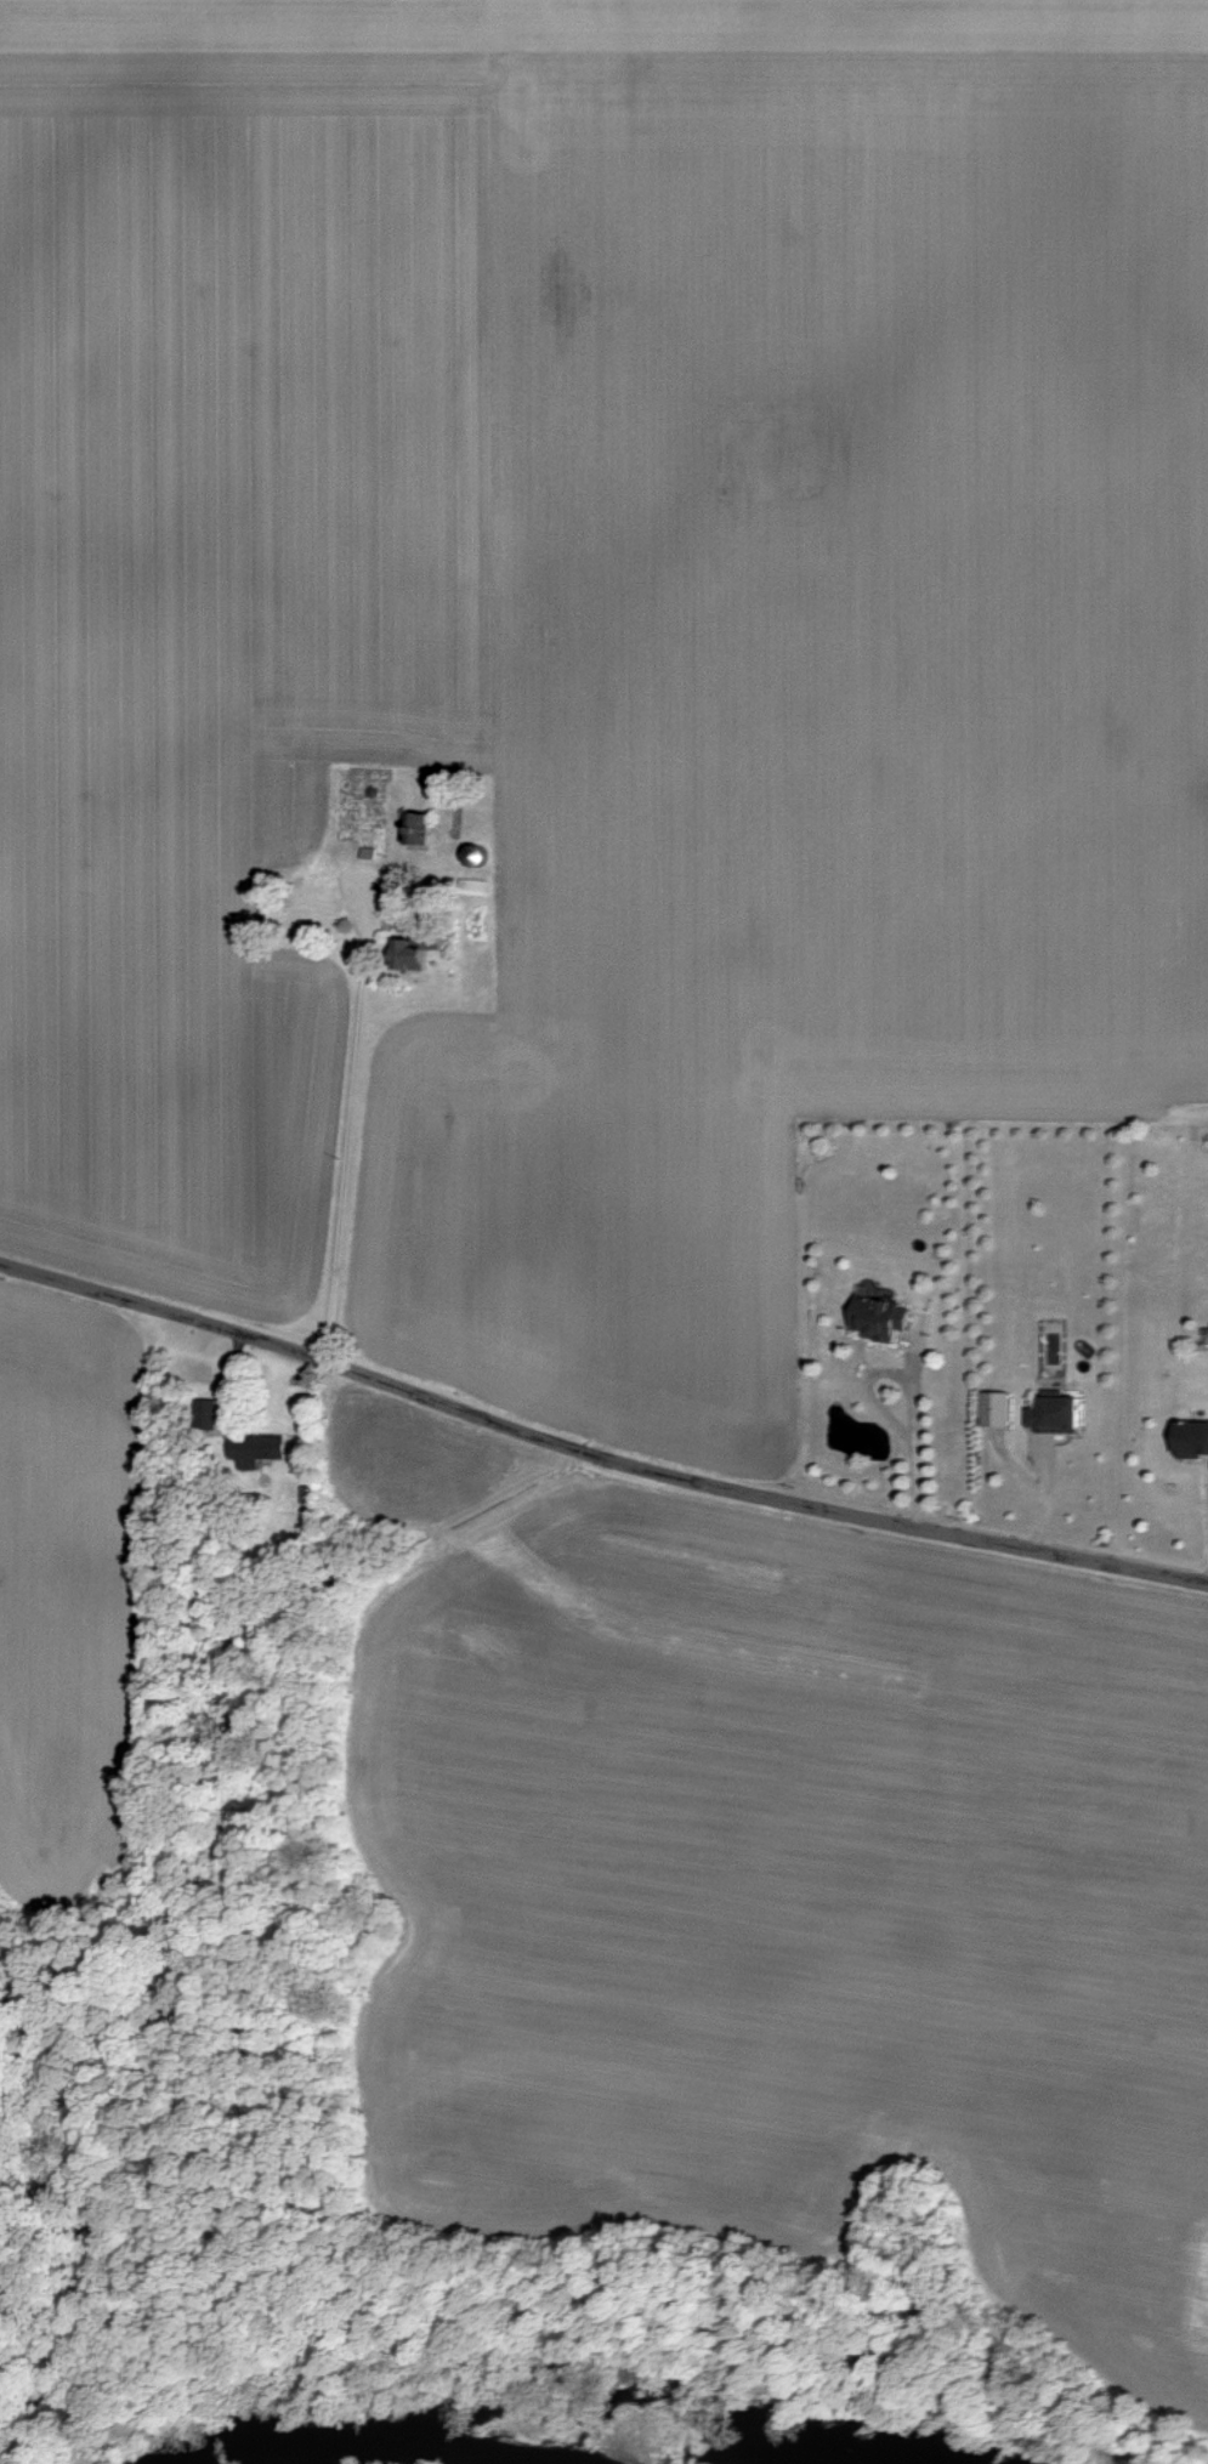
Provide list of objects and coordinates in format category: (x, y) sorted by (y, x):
building: (415, 828)
building: (407, 955)
road: (347, 1125)
building: (877, 1317)
road: (868, 1396)
building: (994, 1407)
building: (1054, 1412)
building: (204, 1413)
road: (913, 1423)
building: (1191, 1437)
building: (253, 1448)
road: (596, 1453)
river: (396, 2440)

